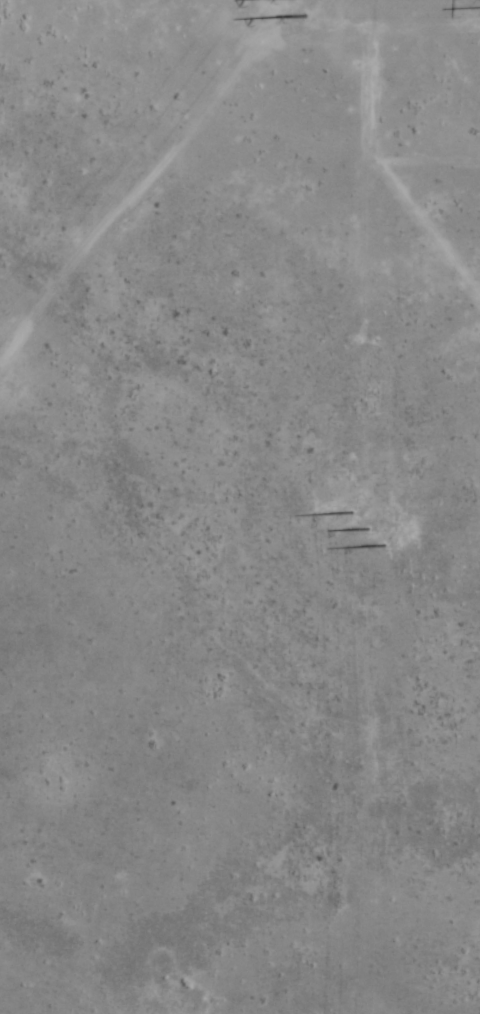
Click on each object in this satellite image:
power tower: (367, 528)

